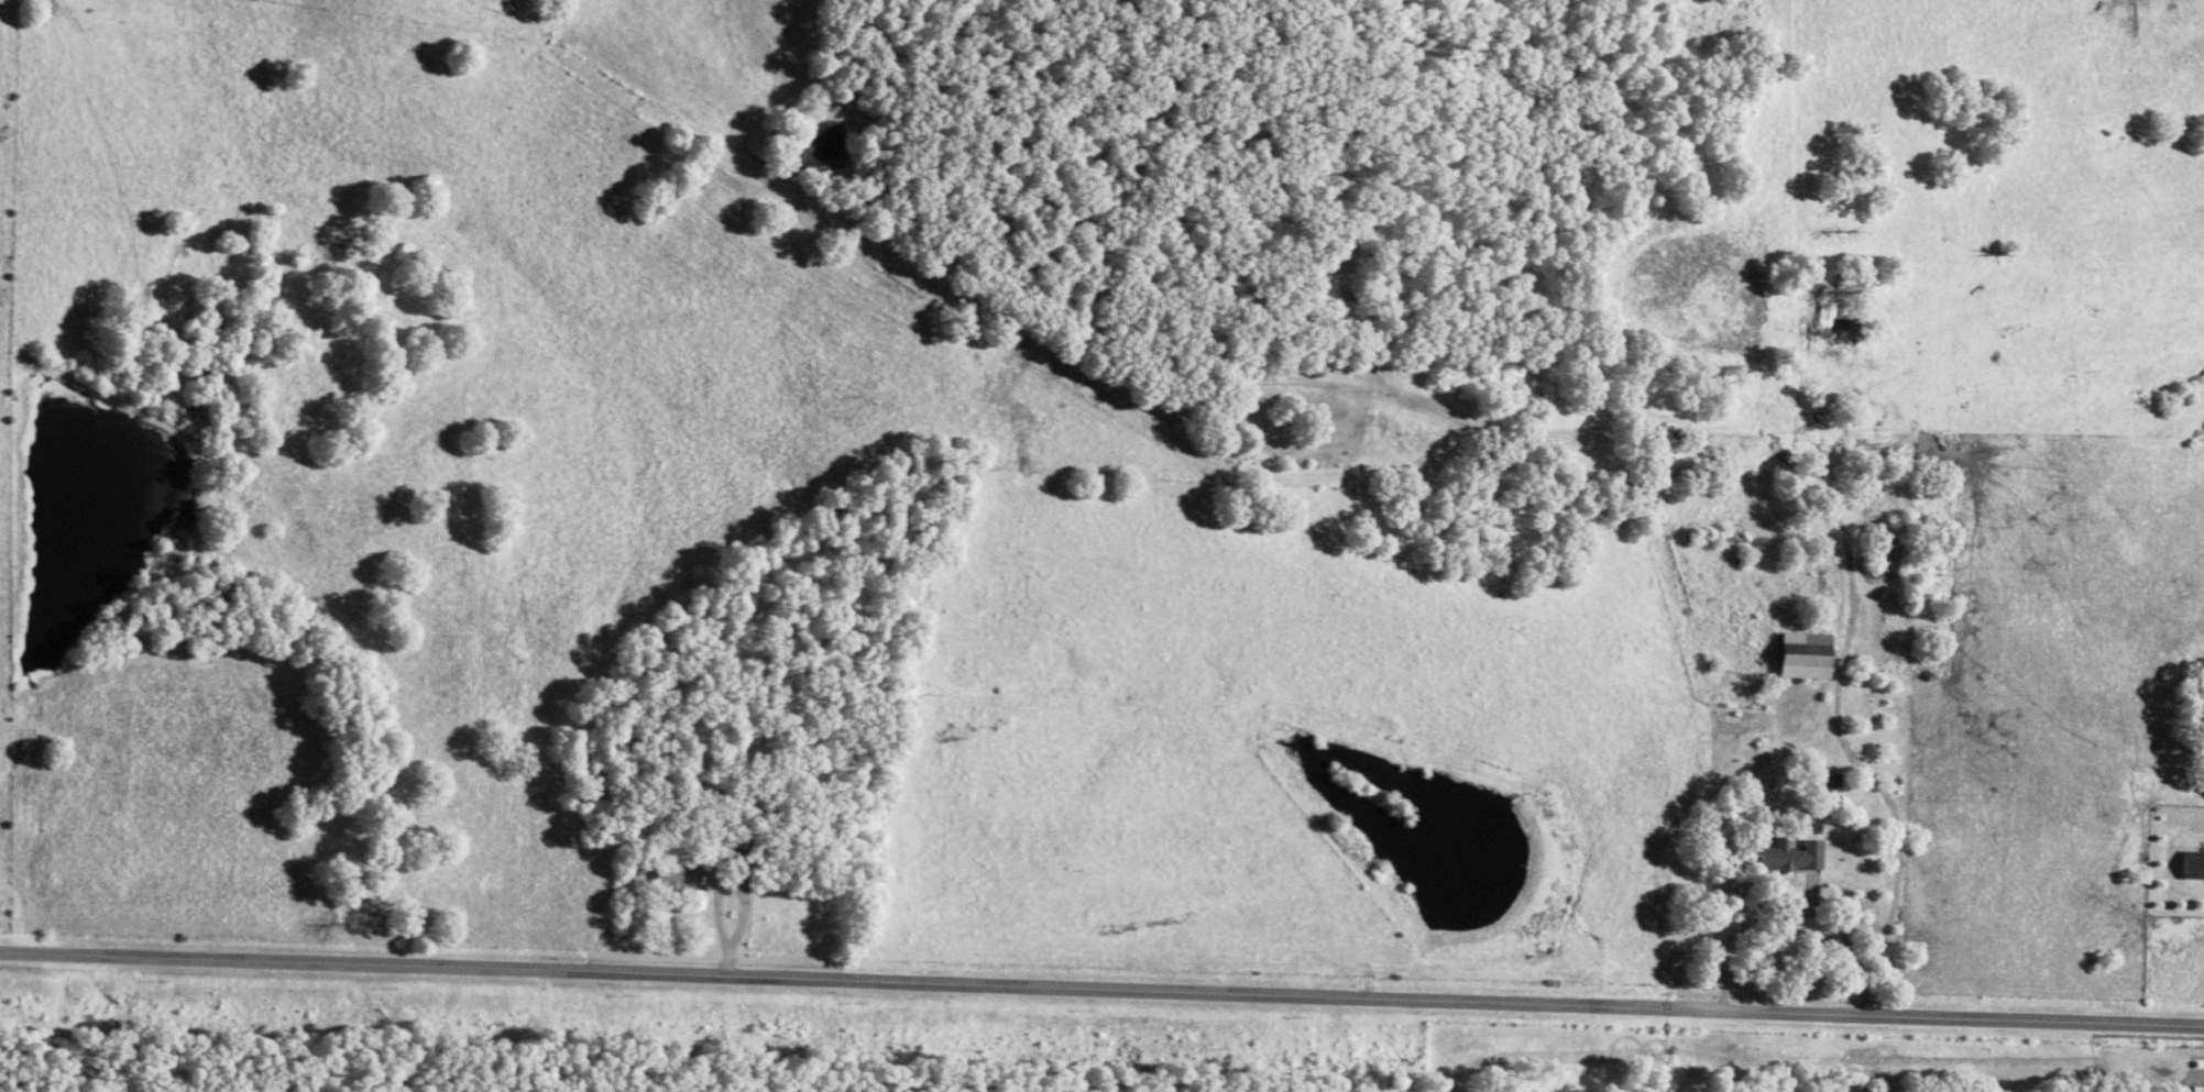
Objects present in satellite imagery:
building: (1802, 653)
road: (1841, 747)
building: (1790, 852)
building: (2192, 862)
building: (677, 871)
road: (715, 885)
road: (722, 959)
road: (1101, 986)
building: (2195, 1088)

